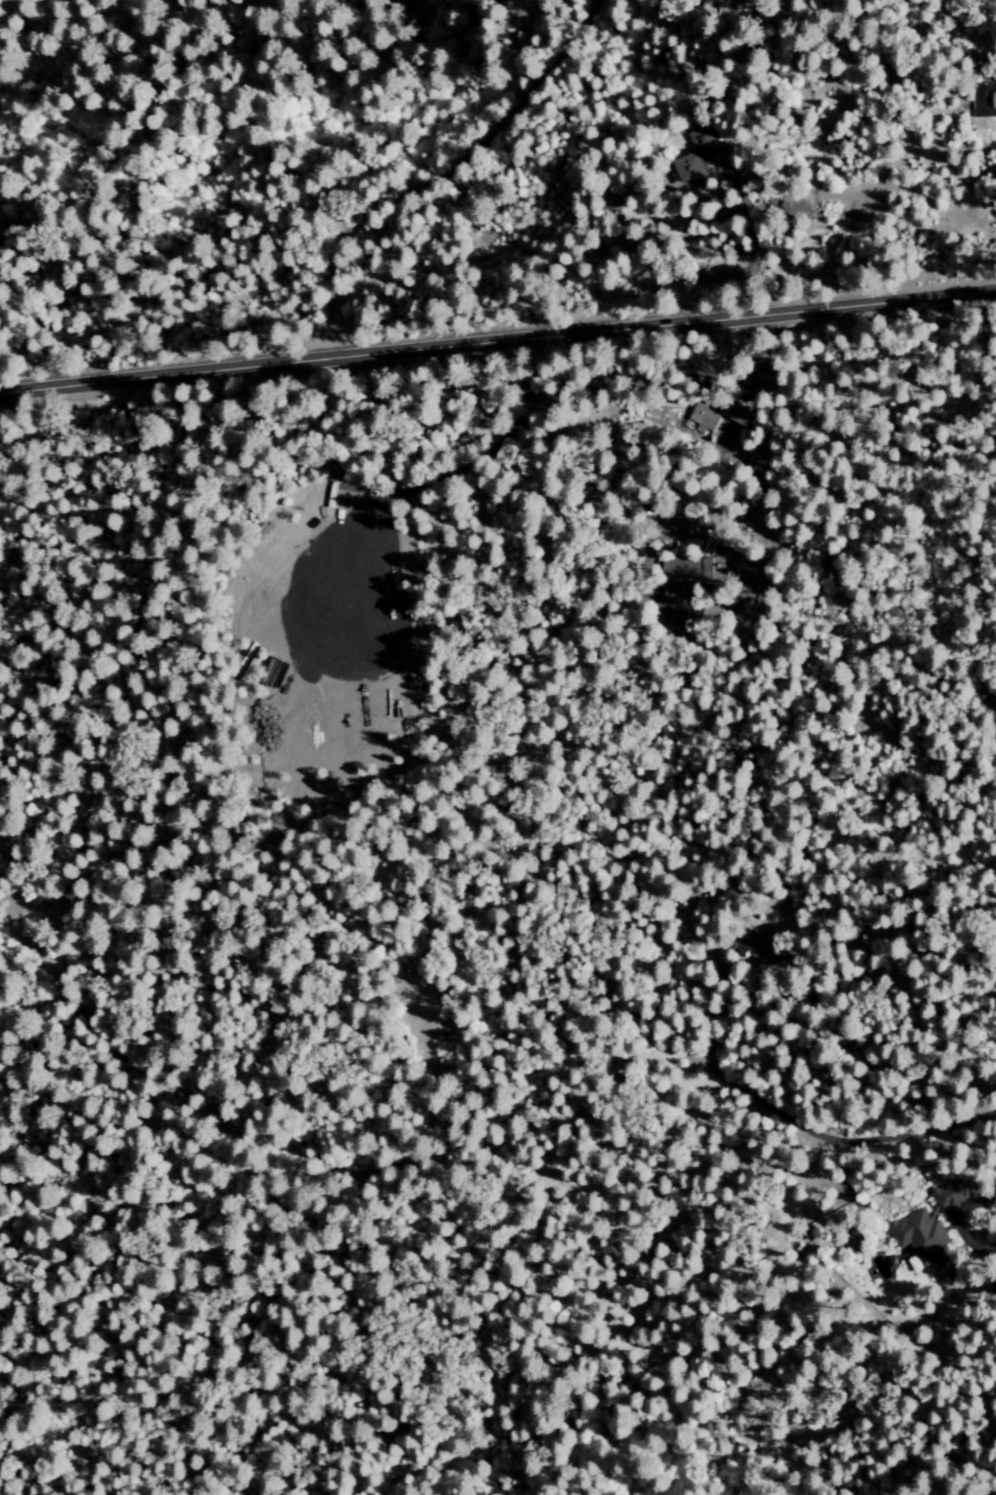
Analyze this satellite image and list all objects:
building: (698, 154)
road: (438, 173)
road: (750, 238)
road: (497, 340)
road: (502, 364)
building: (703, 416)
building: (352, 489)
road: (841, 1138)
building: (921, 1231)

